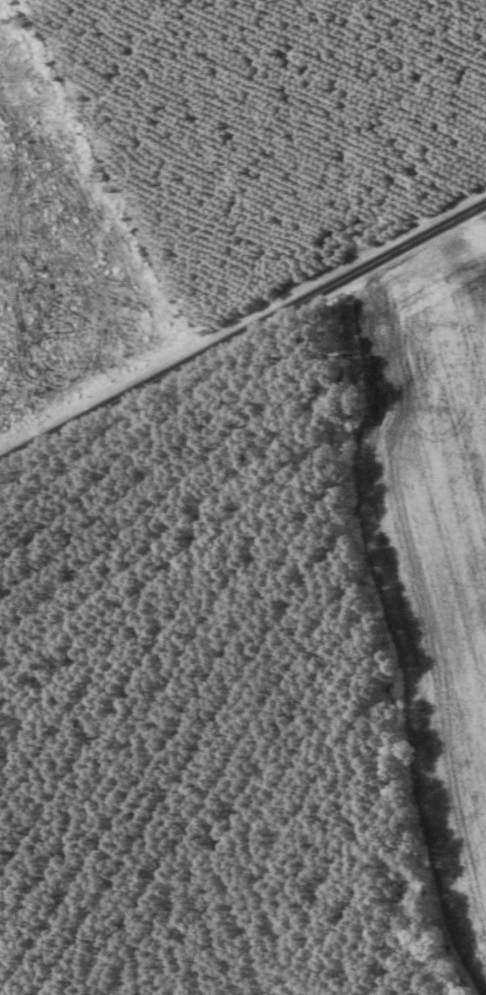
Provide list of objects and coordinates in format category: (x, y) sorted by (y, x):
road: (242, 330)

